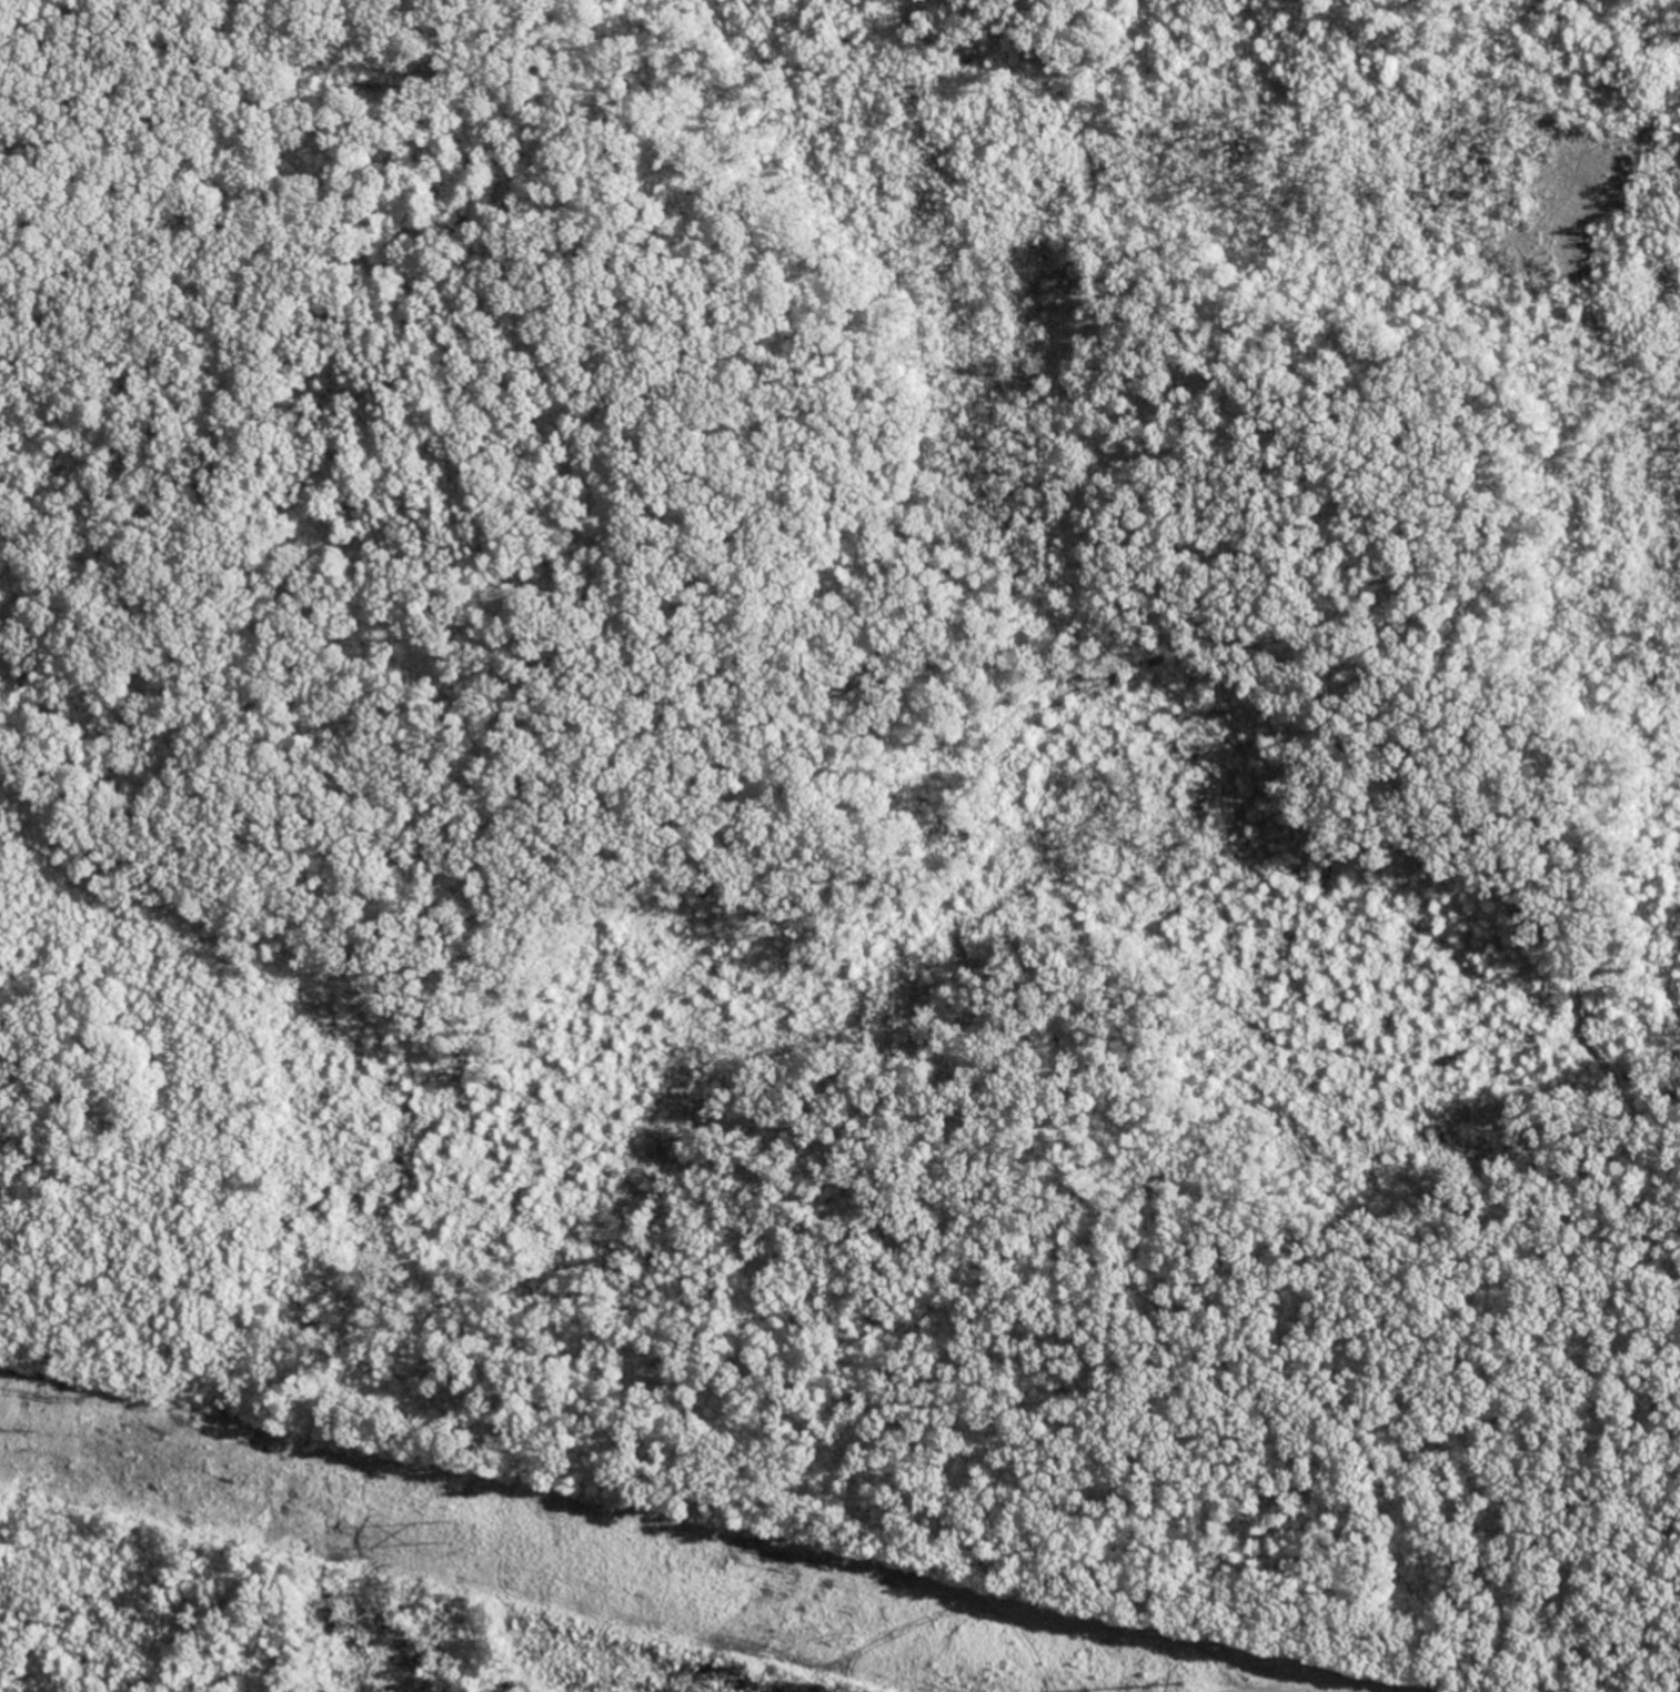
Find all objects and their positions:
power tower: (449, 1532)

